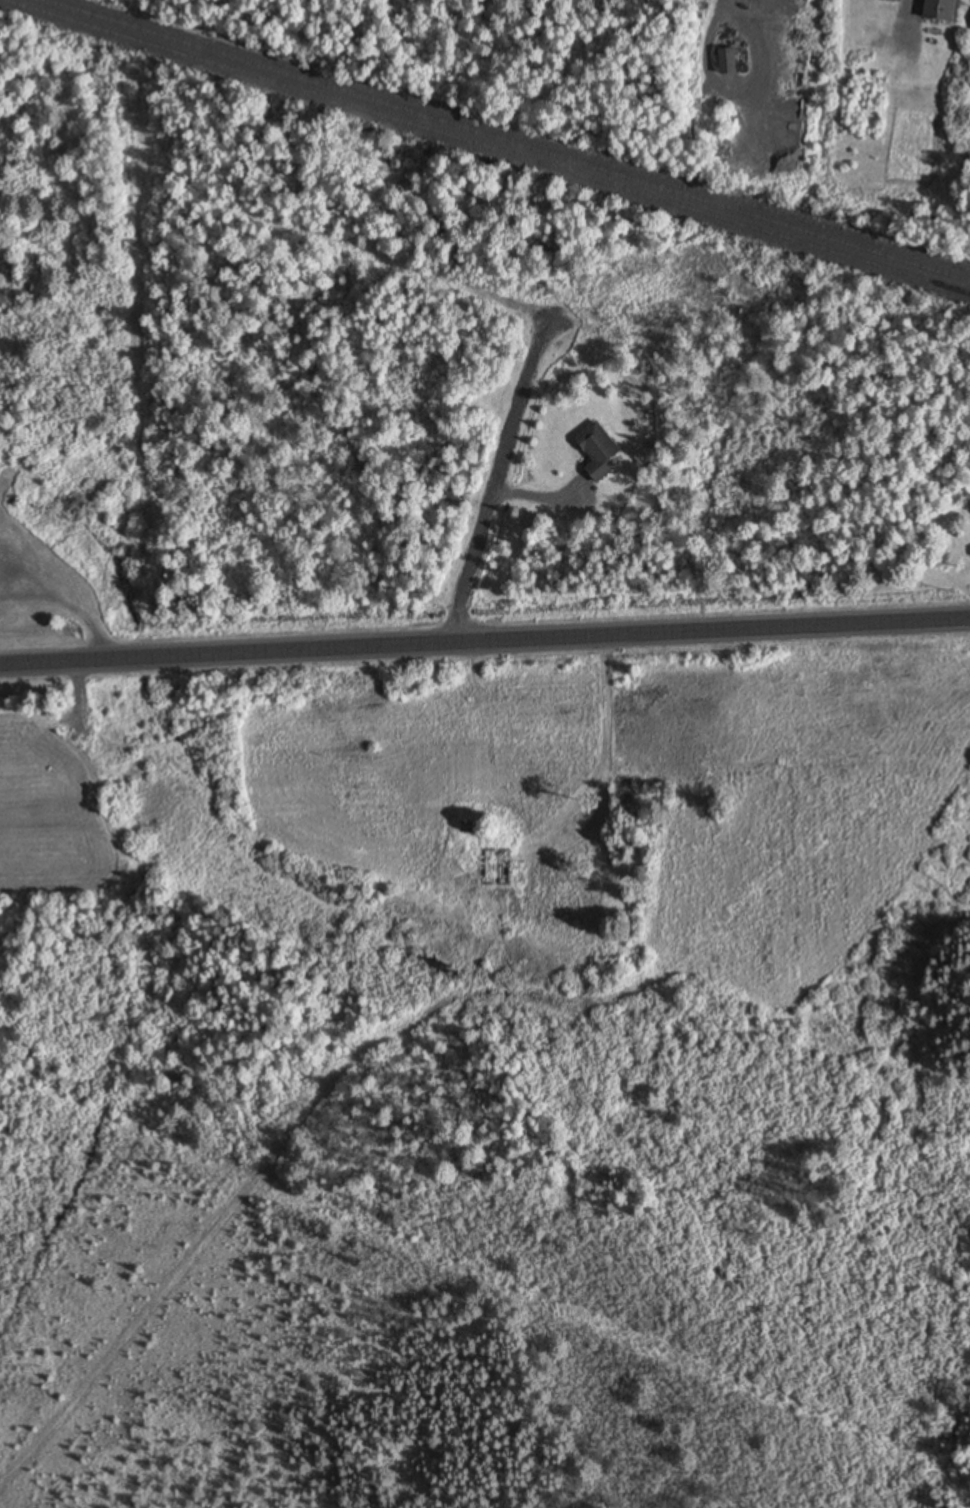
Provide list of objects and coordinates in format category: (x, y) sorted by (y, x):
building: (888, 1)
building: (937, 10)
building: (724, 62)
railway: (506, 140)
railway: (485, 147)
building: (595, 452)
road: (497, 480)
road: (484, 641)

